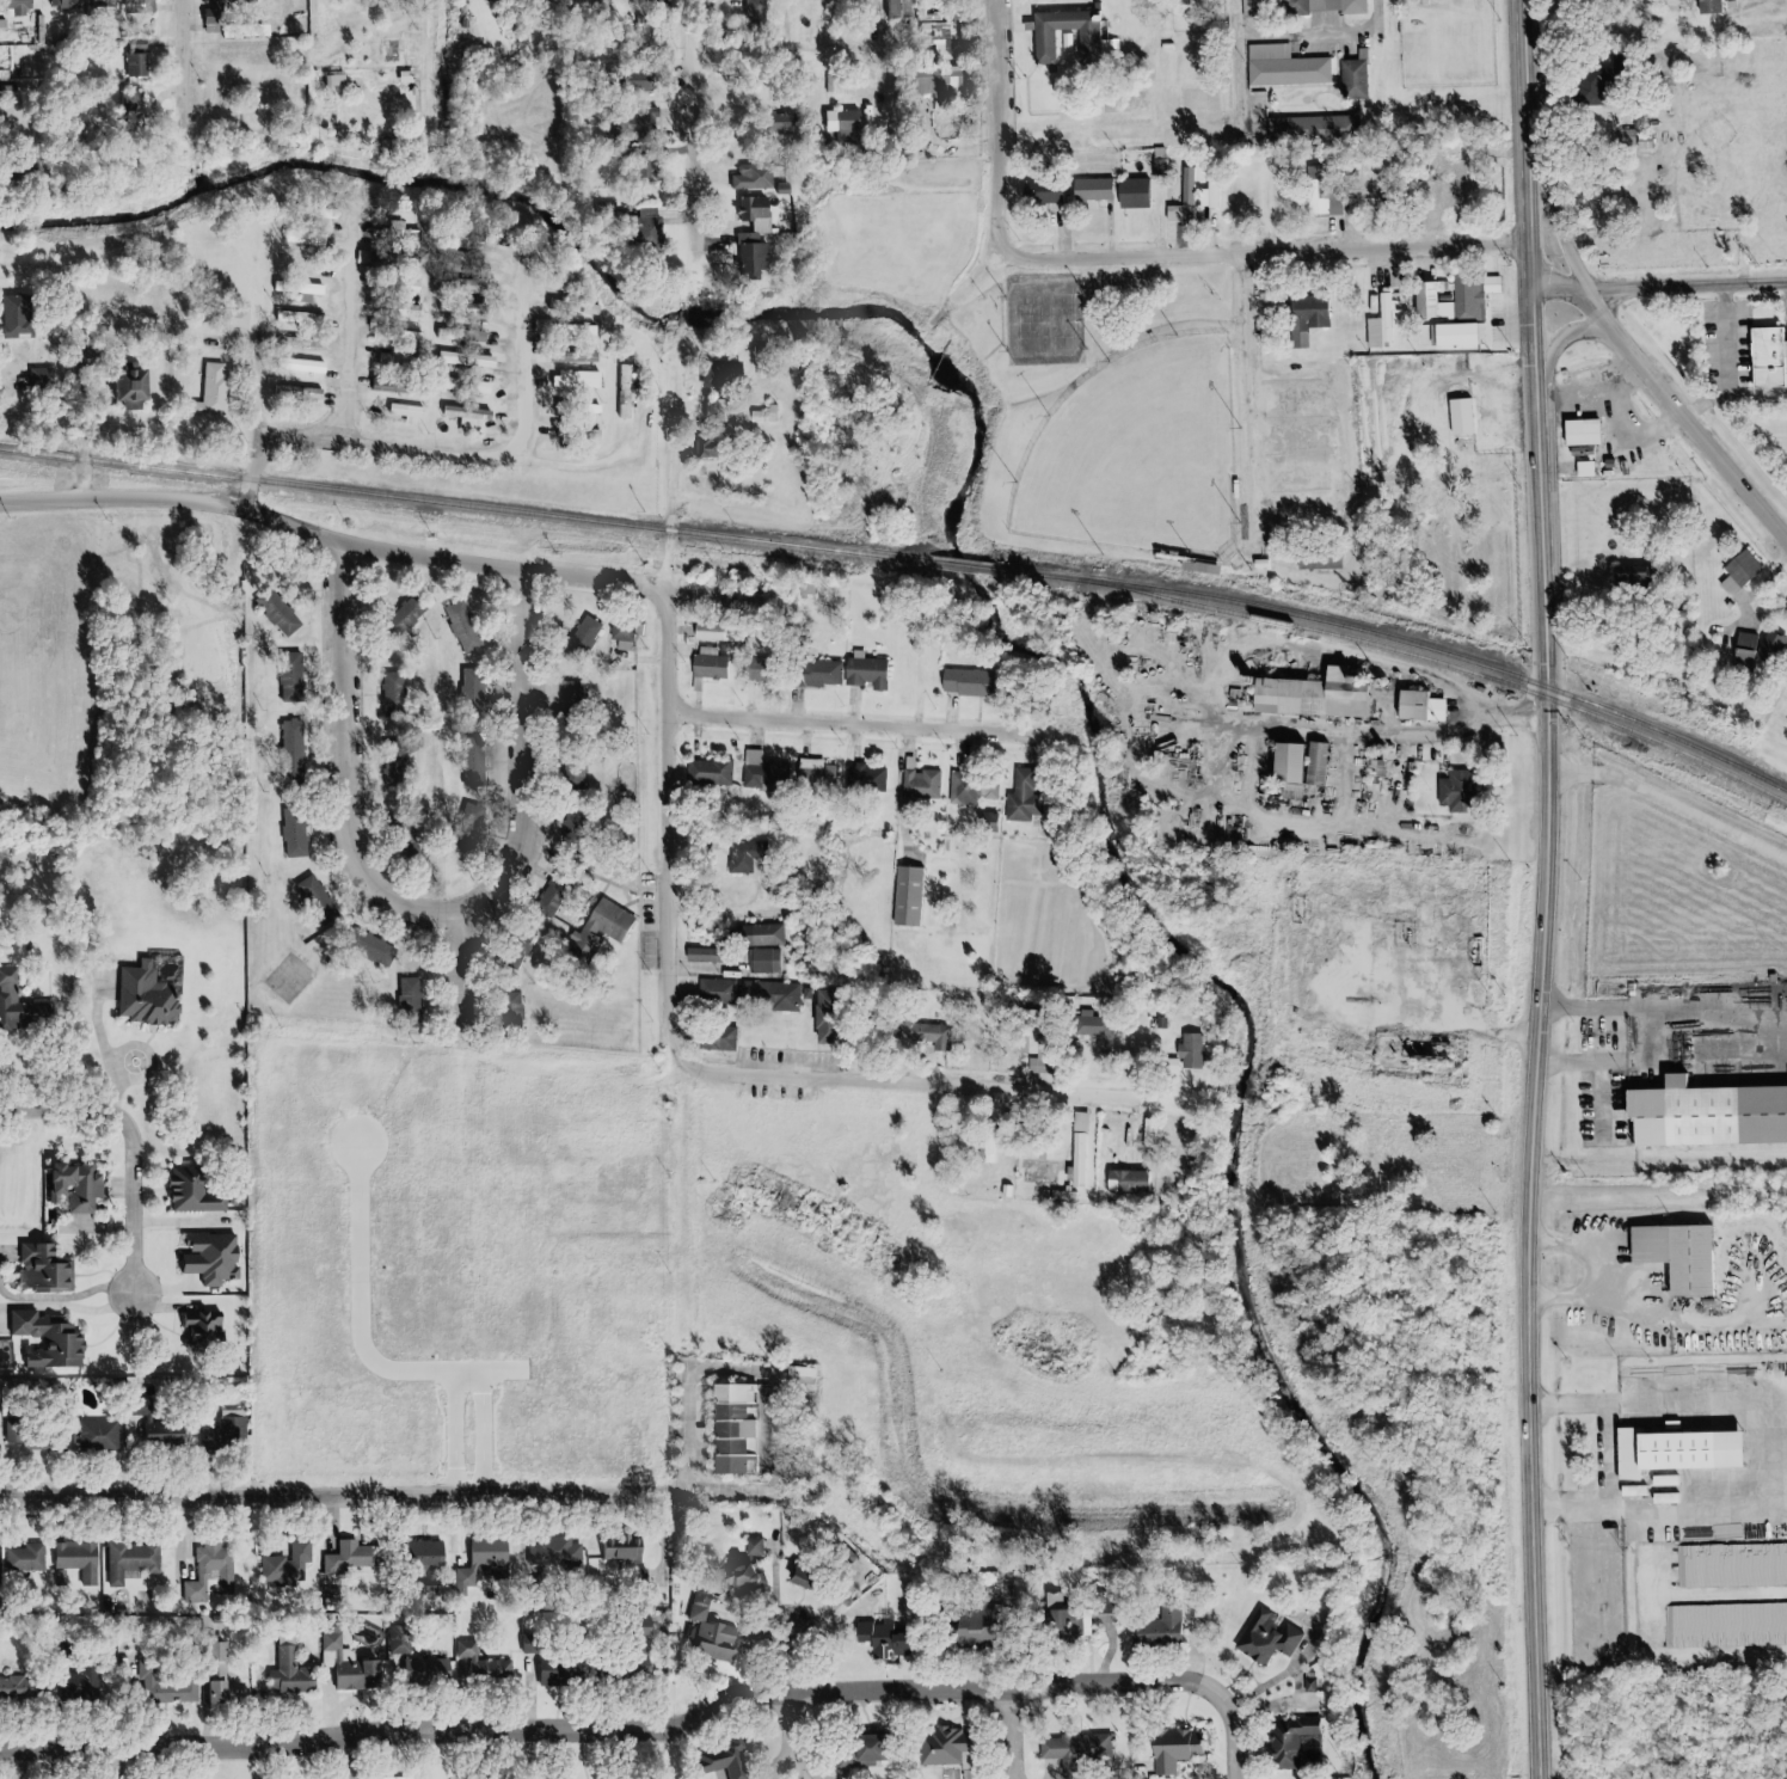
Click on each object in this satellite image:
building: (653, 1)
road: (710, 2)
building: (1417, 2)
building: (65, 4)
building: (98, 4)
building: (139, 5)
building: (1703, 6)
building: (1318, 7)
building: (17, 8)
building: (1257, 8)
building: (891, 10)
building: (747, 12)
road: (1368, 16)
road: (1009, 26)
building: (1085, 33)
road: (1296, 35)
building: (925, 38)
building: (1266, 51)
road: (188, 56)
road: (426, 56)
road: (785, 57)
building: (134, 66)
road: (1228, 70)
building: (1284, 72)
road: (1517, 74)
building: (1346, 79)
building: (931, 80)
road: (1328, 80)
building: (631, 81)
building: (1592, 90)
road: (1322, 97)
road: (1302, 102)
building: (1132, 104)
building: (130, 105)
road: (1341, 111)
building: (1120, 117)
building: (633, 122)
building: (774, 123)
road: (990, 123)
road: (687, 125)
building: (842, 127)
building: (1306, 129)
building: (386, 148)
building: (1153, 171)
building: (23, 173)
building: (745, 176)
road: (706, 179)
building: (1088, 188)
building: (1206, 190)
building: (1129, 191)
building: (1037, 192)
building: (1314, 192)
building: (1178, 200)
building: (748, 210)
road: (1152, 219)
road: (1546, 222)
road: (718, 226)
building: (644, 227)
road: (1101, 229)
road: (1054, 232)
road: (1199, 232)
road: (1333, 234)
building: (739, 238)
road: (1180, 241)
road: (708, 243)
road: (1255, 256)
building: (742, 258)
road: (968, 277)
building: (462, 287)
road: (1684, 288)
building: (302, 289)
road: (993, 300)
building: (1429, 303)
building: (570, 308)
building: (405, 311)
building: (1467, 313)
building: (1301, 317)
building: (16, 318)
building: (299, 319)
road: (931, 320)
building: (1384, 323)
park: (1036, 325)
road: (1785, 327)
road: (342, 330)
building: (579, 333)
road: (1565, 333)
building: (461, 336)
road: (1718, 341)
parking lot: (1720, 350)
road: (514, 358)
building: (1763, 358)
building: (302, 368)
road: (966, 368)
building: (717, 373)
road: (247, 374)
building: (579, 382)
building: (465, 387)
building: (127, 389)
building: (211, 389)
building: (622, 392)
road: (1752, 393)
building: (296, 394)
road: (1281, 397)
road: (1243, 400)
road: (1588, 403)
road: (1664, 403)
road: (1697, 405)
building: (577, 407)
road: (1321, 407)
building: (710, 412)
building: (405, 413)
building: (473, 416)
building: (760, 416)
park: (1074, 427)
building: (1576, 431)
building: (577, 434)
road: (1285, 435)
road: (350, 436)
road: (1626, 441)
building: (701, 447)
park: (1137, 455)
road: (578, 465)
building: (1615, 465)
road: (1582, 467)
road: (1286, 476)
road: (827, 515)
road: (1286, 516)
road: (327, 538)
building: (1313, 557)
railway: (908, 559)
building: (1253, 563)
building: (1199, 568)
building: (1736, 568)
building: (1631, 575)
building: (1722, 585)
building: (278, 616)
building: (405, 618)
building: (461, 627)
building: (714, 633)
building: (625, 638)
building: (582, 640)
road: (1333, 652)
building: (1755, 652)
building: (1719, 664)
road: (1161, 665)
building: (710, 668)
building: (761, 671)
building: (818, 674)
building: (865, 674)
building: (289, 679)
building: (966, 683)
building: (469, 691)
building: (392, 693)
road: (1143, 693)
building: (1307, 697)
building: (573, 701)
building: (1413, 706)
road: (1215, 723)
road: (849, 724)
road: (1185, 736)
road: (669, 738)
road: (521, 750)
building: (290, 753)
road: (351, 761)
building: (1286, 762)
building: (1313, 762)
building: (393, 763)
building: (472, 773)
building: (710, 773)
building: (764, 773)
building: (816, 775)
road: (1337, 777)
building: (573, 780)
building: (866, 780)
building: (921, 785)
building: (974, 787)
building: (1456, 789)
road: (1179, 793)
building: (1023, 799)
building: (575, 829)
building: (294, 834)
building: (404, 840)
building: (463, 840)
building: (748, 859)
building: (314, 897)
building: (907, 897)
road: (730, 902)
building: (598, 931)
building: (757, 937)
building: (373, 950)
building: (702, 956)
building: (763, 962)
road: (1533, 963)
road: (466, 976)
building: (748, 995)
building: (409, 1002)
building: (20, 1006)
building: (510, 1014)
building: (825, 1019)
road: (1378, 1027)
building: (1094, 1032)
road: (1645, 1037)
building: (717, 1039)
road: (98, 1043)
building: (1034, 1051)
road: (1779, 1051)
building: (1191, 1053)
road: (925, 1080)
road: (1592, 1104)
building: (1707, 1116)
building: (1148, 1137)
road: (127, 1142)
building: (987, 1145)
building: (1079, 1149)
road: (1654, 1158)
building: (1103, 1168)
building: (1040, 1173)
building: (80, 1185)
road: (1654, 1188)
building: (198, 1192)
building: (1675, 1256)
building: (48, 1269)
road: (1598, 1272)
road: (1742, 1292)
road: (1705, 1321)
building: (204, 1332)
building: (51, 1341)
road: (1776, 1403)
building: (732, 1429)
building: (164, 1431)
building: (38, 1434)
building: (227, 1435)
building: (100, 1437)
building: (1672, 1450)
road: (1768, 1456)
road: (1598, 1460)
road: (379, 1495)
building: (620, 1547)
building: (755, 1547)
building: (551, 1553)
building: (422, 1556)
building: (27, 1557)
building: (349, 1557)
building: (486, 1558)
building: (134, 1559)
building: (79, 1562)
building: (289, 1565)
building: (848, 1565)
building: (214, 1575)
building: (804, 1576)
building: (745, 1578)
building: (637, 1579)
road: (1585, 1588)
road: (1662, 1621)
building: (630, 1627)
building: (975, 1627)
building: (1067, 1631)
building: (1155, 1631)
building: (706, 1636)
building: (1266, 1639)
building: (886, 1642)
building: (344, 1668)
building: (480, 1668)
building: (622, 1671)
building: (293, 1673)
building: (423, 1673)
building: (557, 1674)
building: (228, 1679)
building: (167, 1681)
building: (81, 1686)
building: (23, 1688)
road: (797, 1703)
road: (633, 1724)
road: (1018, 1731)
building: (1288, 1742)
building: (1075, 1748)
building: (947, 1750)
building: (1173, 1750)
road: (1242, 1750)
building: (861, 1753)
building: (718, 1761)

